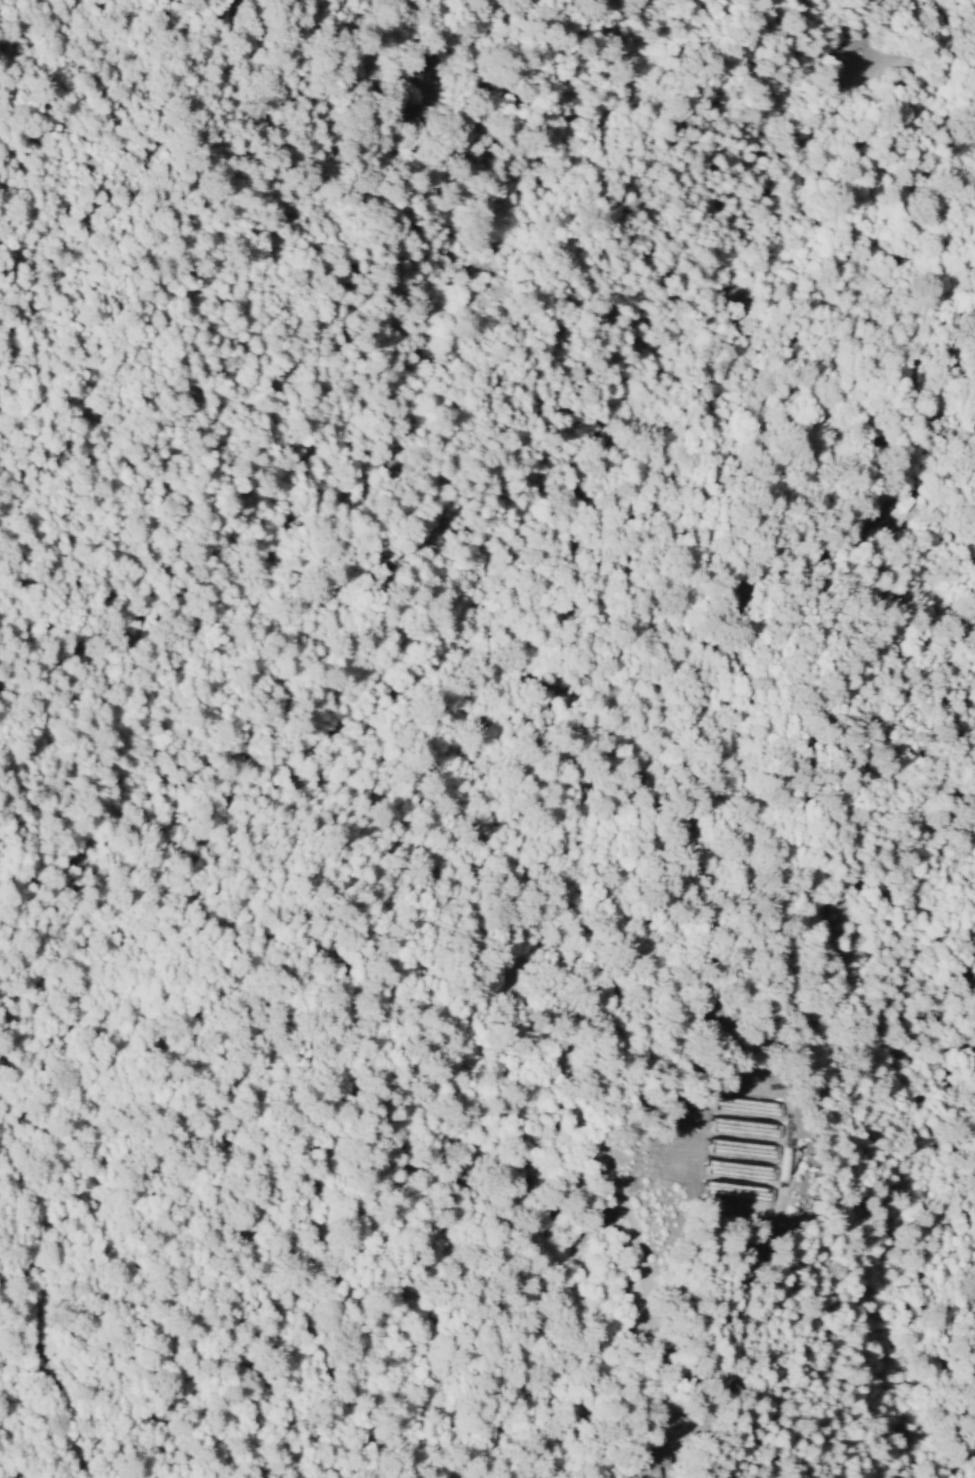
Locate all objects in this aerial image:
building: (743, 1147)
building: (740, 1168)
building: (737, 1190)

